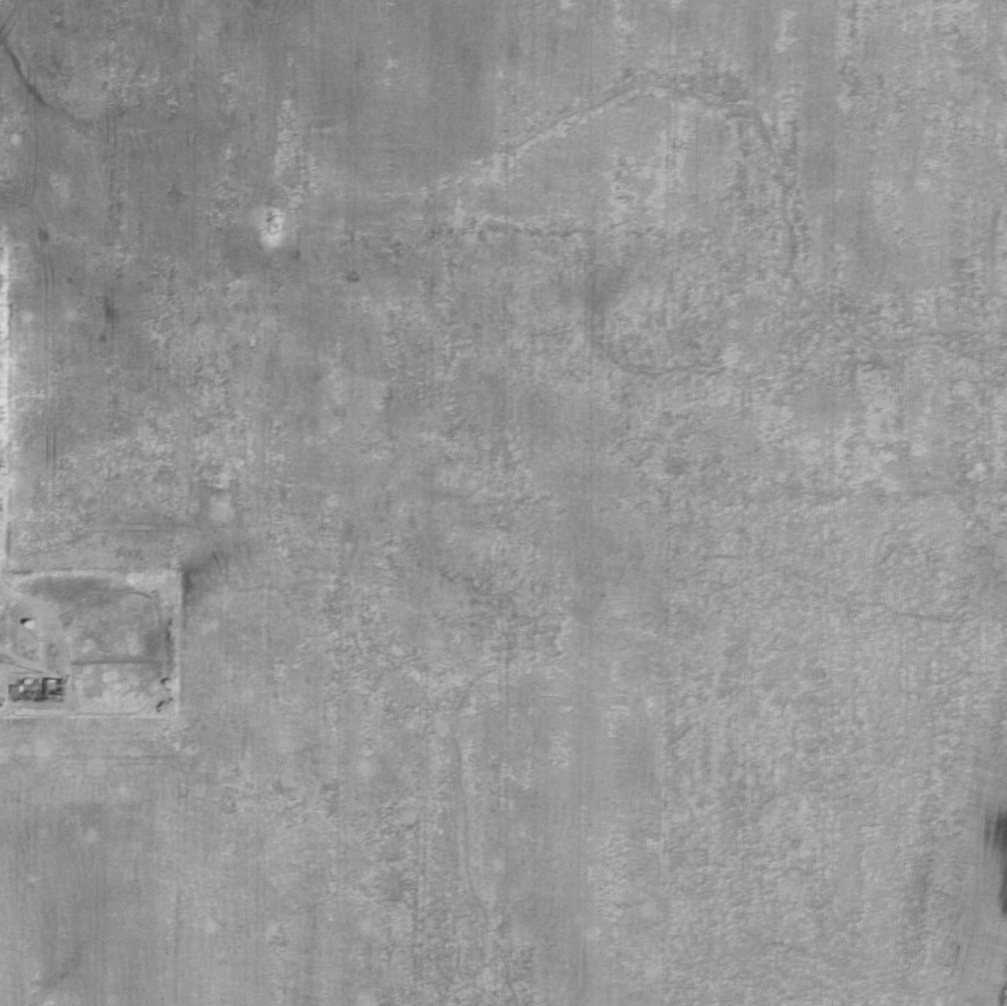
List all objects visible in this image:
building: (60, 687)

